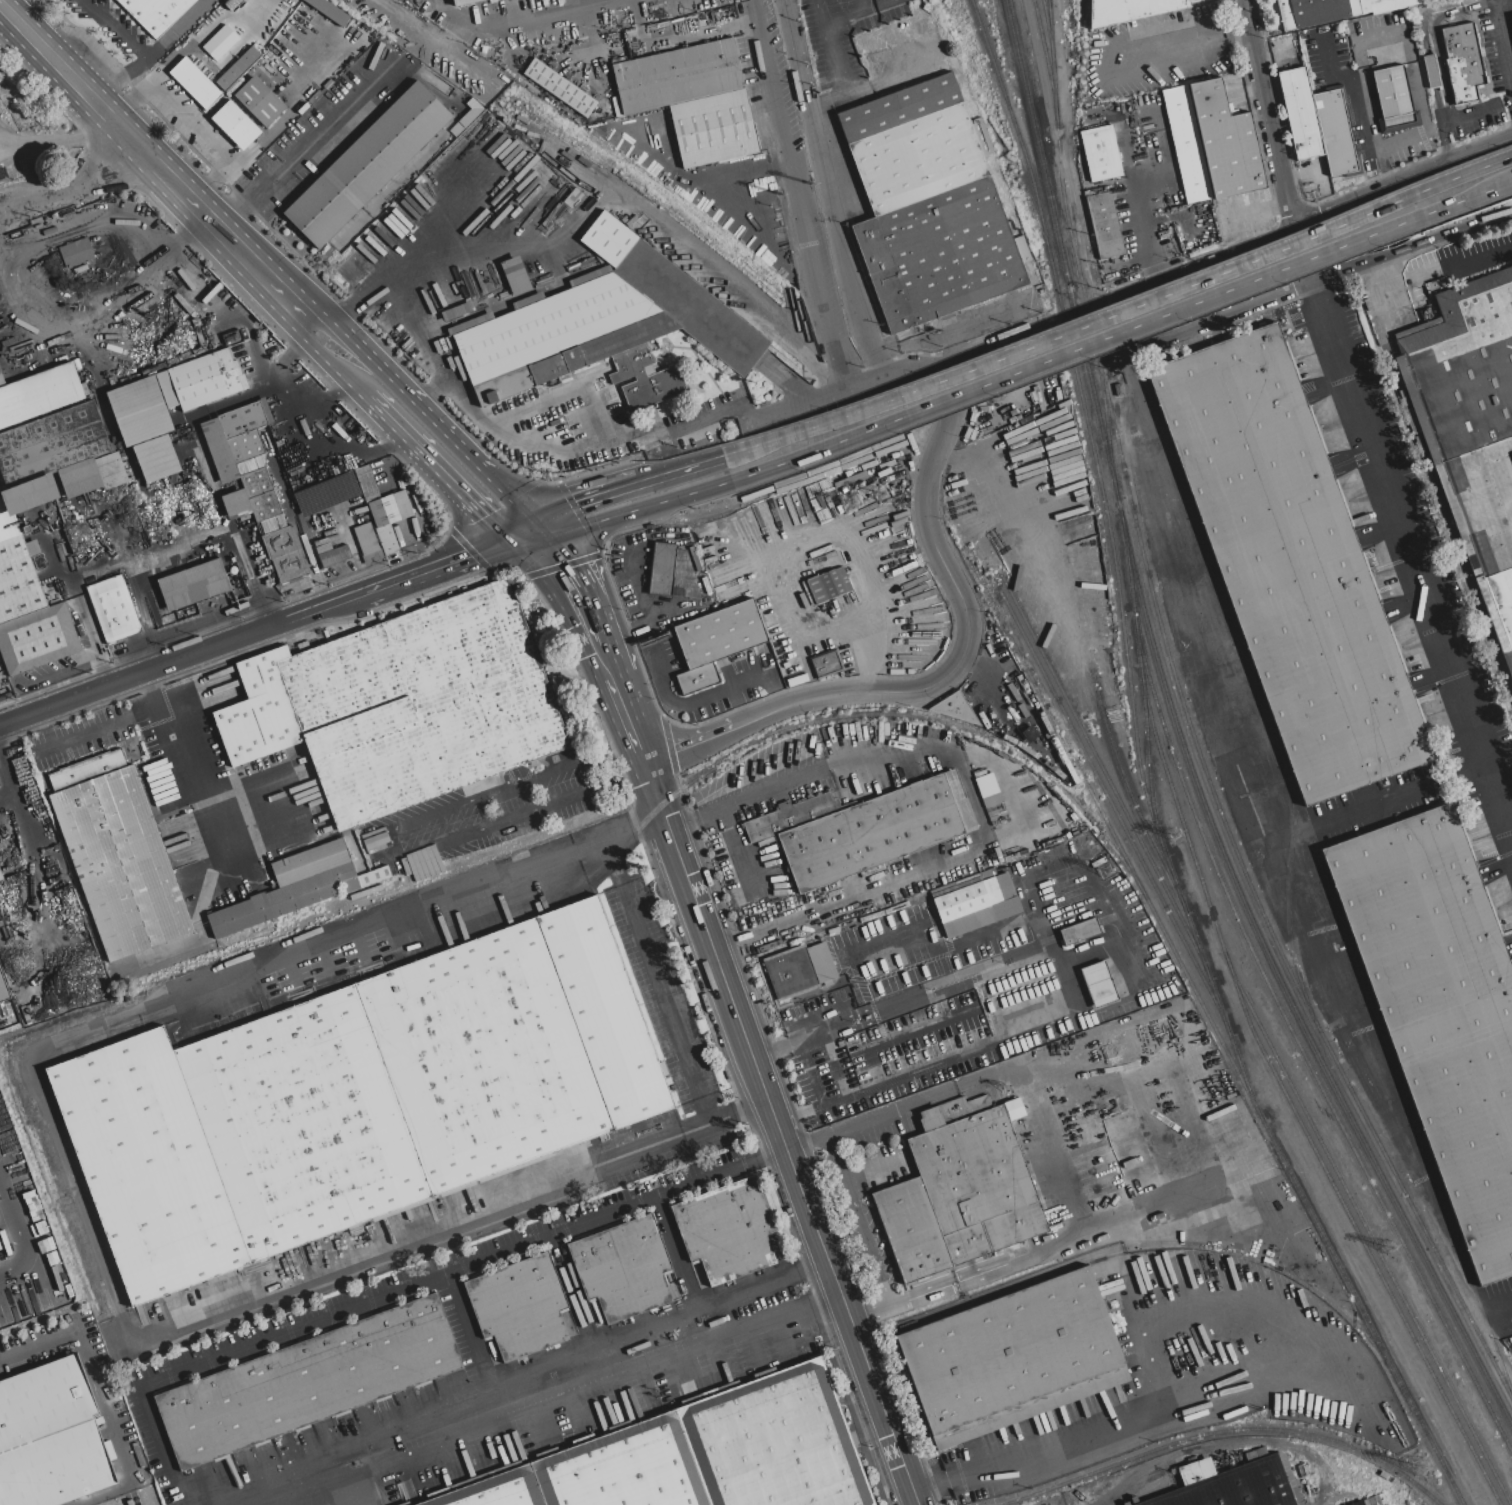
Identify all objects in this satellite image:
building: (466, 3)
road: (861, 6)
road: (1505, 7)
building: (1128, 10)
building: (1331, 10)
building: (329, 11)
road: (1421, 12)
building: (157, 13)
building: (1511, 15)
road: (850, 16)
road: (1250, 16)
road: (521, 17)
railway: (1050, 20)
railway: (393, 24)
road: (116, 28)
road: (177, 29)
road: (206, 29)
road: (1238, 35)
road: (1504, 35)
road: (678, 36)
road: (1433, 38)
building: (219, 43)
railway: (1052, 54)
road: (836, 57)
road: (1104, 58)
road: (225, 62)
building: (1462, 63)
building: (238, 69)
road: (1429, 72)
building: (1431, 72)
road: (120, 76)
railway: (471, 77)
building: (195, 84)
building: (560, 88)
road: (826, 97)
road: (94, 98)
road: (1363, 98)
building: (1394, 99)
road: (130, 100)
building: (693, 100)
building: (260, 101)
road: (1436, 107)
road: (1476, 112)
road: (186, 120)
road: (278, 123)
building: (1317, 124)
building: (236, 126)
road: (1425, 126)
road: (1275, 127)
park: (32, 129)
road: (311, 142)
building: (1212, 142)
road: (1443, 142)
railway: (575, 146)
building: (1100, 154)
road: (1130, 164)
building: (368, 165)
road: (1307, 172)
road: (221, 180)
power tower: (812, 185)
road: (827, 190)
road: (78, 191)
power tower: (783, 194)
road: (794, 195)
building: (572, 198)
railway: (1030, 198)
building: (930, 206)
road: (1267, 206)
road: (628, 207)
road: (210, 217)
building: (1105, 226)
road: (174, 242)
road: (1301, 242)
building: (77, 252)
parking lot: (1464, 255)
road: (1431, 271)
road: (1180, 272)
building: (514, 276)
road: (269, 277)
road: (361, 300)
road: (1120, 313)
road: (324, 317)
road: (975, 324)
road: (344, 326)
building: (603, 333)
road: (1122, 333)
road: (317, 351)
road: (942, 358)
road: (380, 360)
road: (906, 369)
building: (200, 382)
road: (436, 390)
building: (38, 394)
road: (561, 400)
road: (809, 401)
railway: (1106, 417)
building: (1473, 422)
road: (448, 426)
building: (145, 427)
road: (331, 438)
road: (530, 441)
building: (52, 444)
road: (430, 462)
building: (1059, 467)
road: (681, 468)
building: (93, 476)
road: (503, 479)
building: (255, 482)
building: (367, 484)
power tower: (883, 494)
road: (578, 499)
traffic signals: (573, 501)
power tower: (850, 503)
road: (629, 512)
traffic signals: (485, 514)
road: (523, 515)
building: (389, 519)
railway: (1452, 529)
road: (823, 534)
building: (367, 544)
road: (1412, 549)
road: (182, 551)
building: (333, 555)
traffic signals: (467, 555)
railway: (1114, 555)
road: (442, 563)
building: (1290, 564)
traffic signals: (570, 567)
building: (671, 572)
road: (576, 579)
building: (193, 585)
building: (828, 586)
road: (336, 602)
building: (113, 609)
building: (29, 615)
road: (651, 619)
road: (965, 625)
building: (721, 633)
road: (611, 660)
building: (827, 665)
road: (156, 667)
road: (698, 700)
building: (419, 703)
building: (975, 705)
road: (737, 706)
building: (955, 708)
railway: (1050, 715)
road: (630, 721)
building: (257, 727)
railway: (1192, 727)
road: (44, 728)
road: (98, 728)
railway: (1183, 741)
road: (620, 743)
road: (688, 746)
railway: (1114, 746)
road: (1275, 761)
railway: (1100, 762)
railway: (1149, 765)
road: (630, 769)
building: (87, 770)
building: (985, 783)
road: (651, 784)
railway: (1106, 794)
road: (1395, 796)
road: (974, 798)
road: (202, 799)
road: (483, 810)
building: (863, 829)
power tower: (1173, 838)
road: (387, 846)
road: (612, 862)
building: (121, 863)
power tower: (1105, 872)
building: (1, 876)
building: (365, 879)
building: (291, 889)
road: (1080, 895)
building: (967, 900)
railway: (1144, 900)
building: (1080, 932)
building: (0, 935)
road: (717, 969)
building: (799, 969)
building: (1098, 984)
building: (4, 988)
railway: (1276, 1002)
road: (664, 1005)
building: (1440, 1010)
building: (9, 1013)
road: (1148, 1070)
railway: (1288, 1080)
building: (357, 1099)
road: (751, 1109)
road: (49, 1113)
road: (871, 1121)
road: (708, 1125)
road: (642, 1149)
road: (763, 1157)
road: (1197, 1187)
road: (1058, 1188)
building: (960, 1196)
building: (727, 1230)
road: (19, 1231)
railway: (1361, 1241)
railway: (1132, 1247)
power tower: (1390, 1250)
road: (674, 1251)
road: (807, 1264)
building: (624, 1268)
road: (570, 1289)
road: (826, 1301)
road: (905, 1306)
building: (520, 1307)
road: (848, 1318)
road: (584, 1347)
road: (236, 1354)
building: (1012, 1358)
railway: (1500, 1360)
building: (308, 1381)
road: (100, 1397)
road: (1167, 1399)
road: (555, 1405)
railway: (1226, 1432)
building: (50, 1437)
building: (702, 1455)
power tower: (1418, 1470)
building: (1235, 1483)
road: (182, 1500)
building: (1358, 1503)

